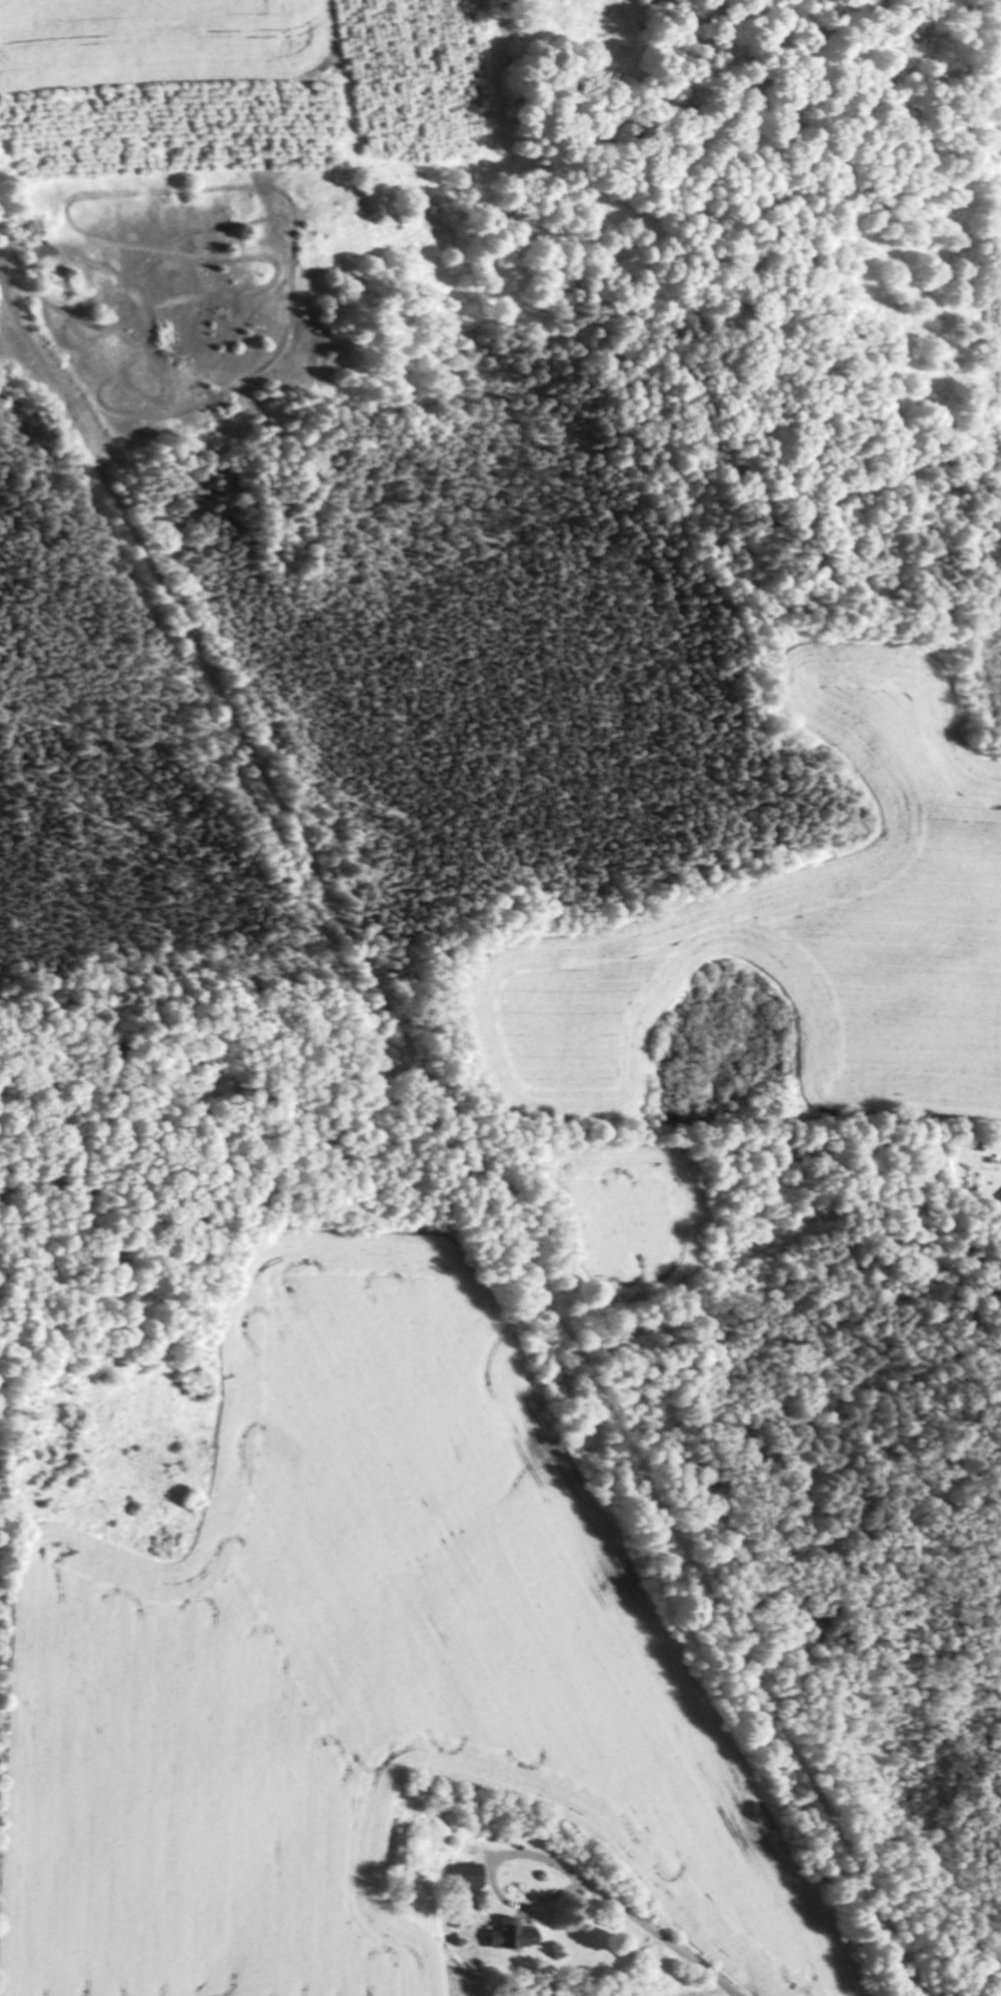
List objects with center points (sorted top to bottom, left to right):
quarry: (989, 297)
road: (462, 1148)
building: (469, 1876)
road: (490, 1876)
building: (516, 1935)
road: (660, 1939)

